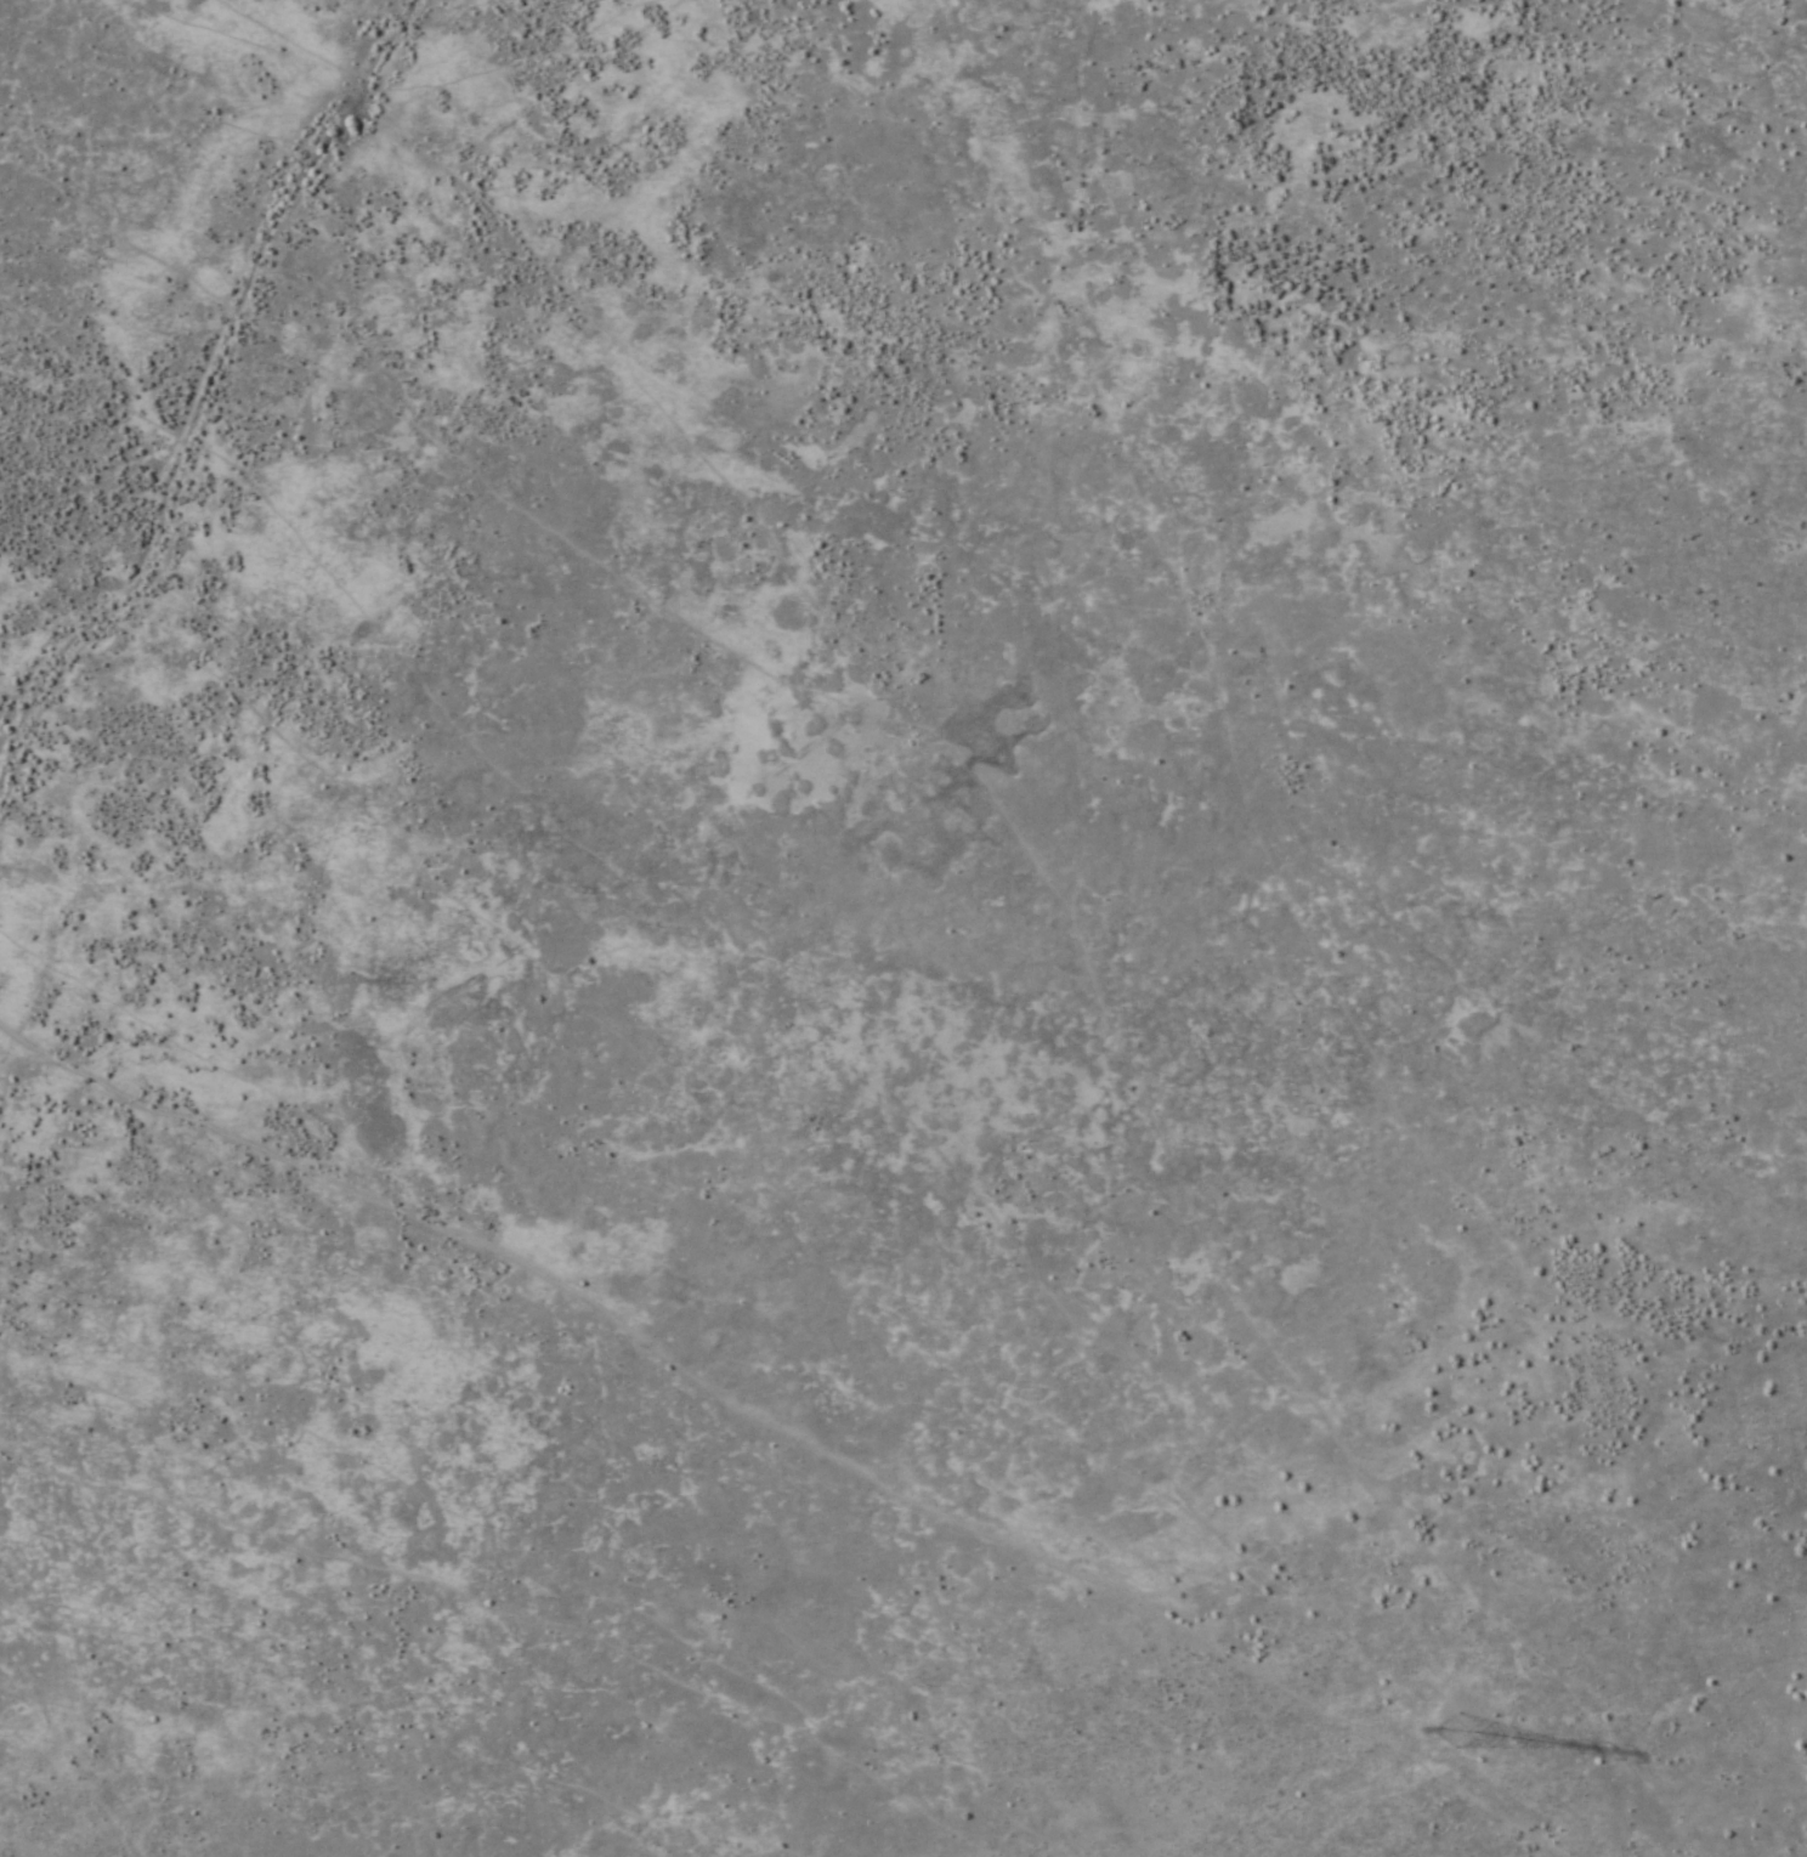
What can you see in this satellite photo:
power tower: (1477, 1723)

